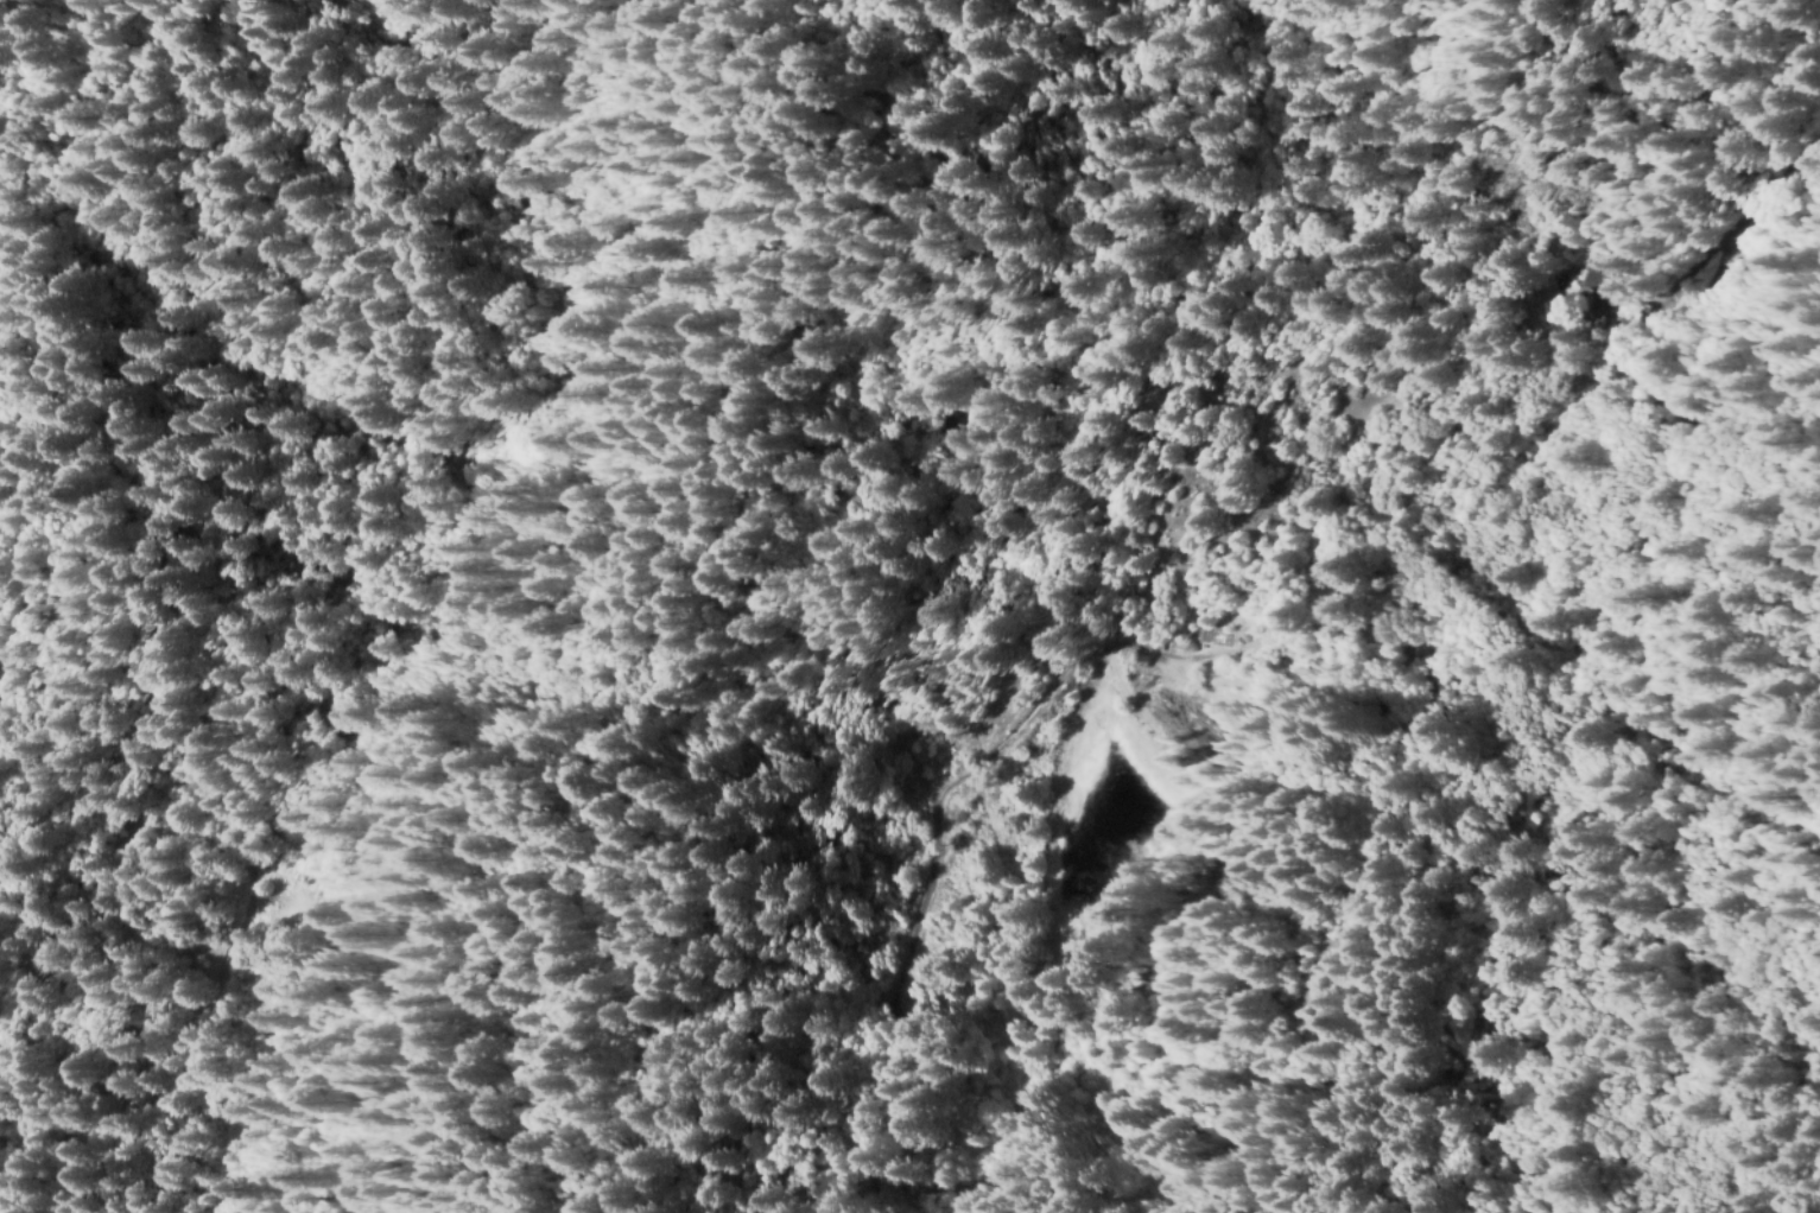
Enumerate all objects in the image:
building: (1750, 220)
building: (1590, 299)
building: (1334, 604)
building: (1554, 644)
building: (1248, 661)

